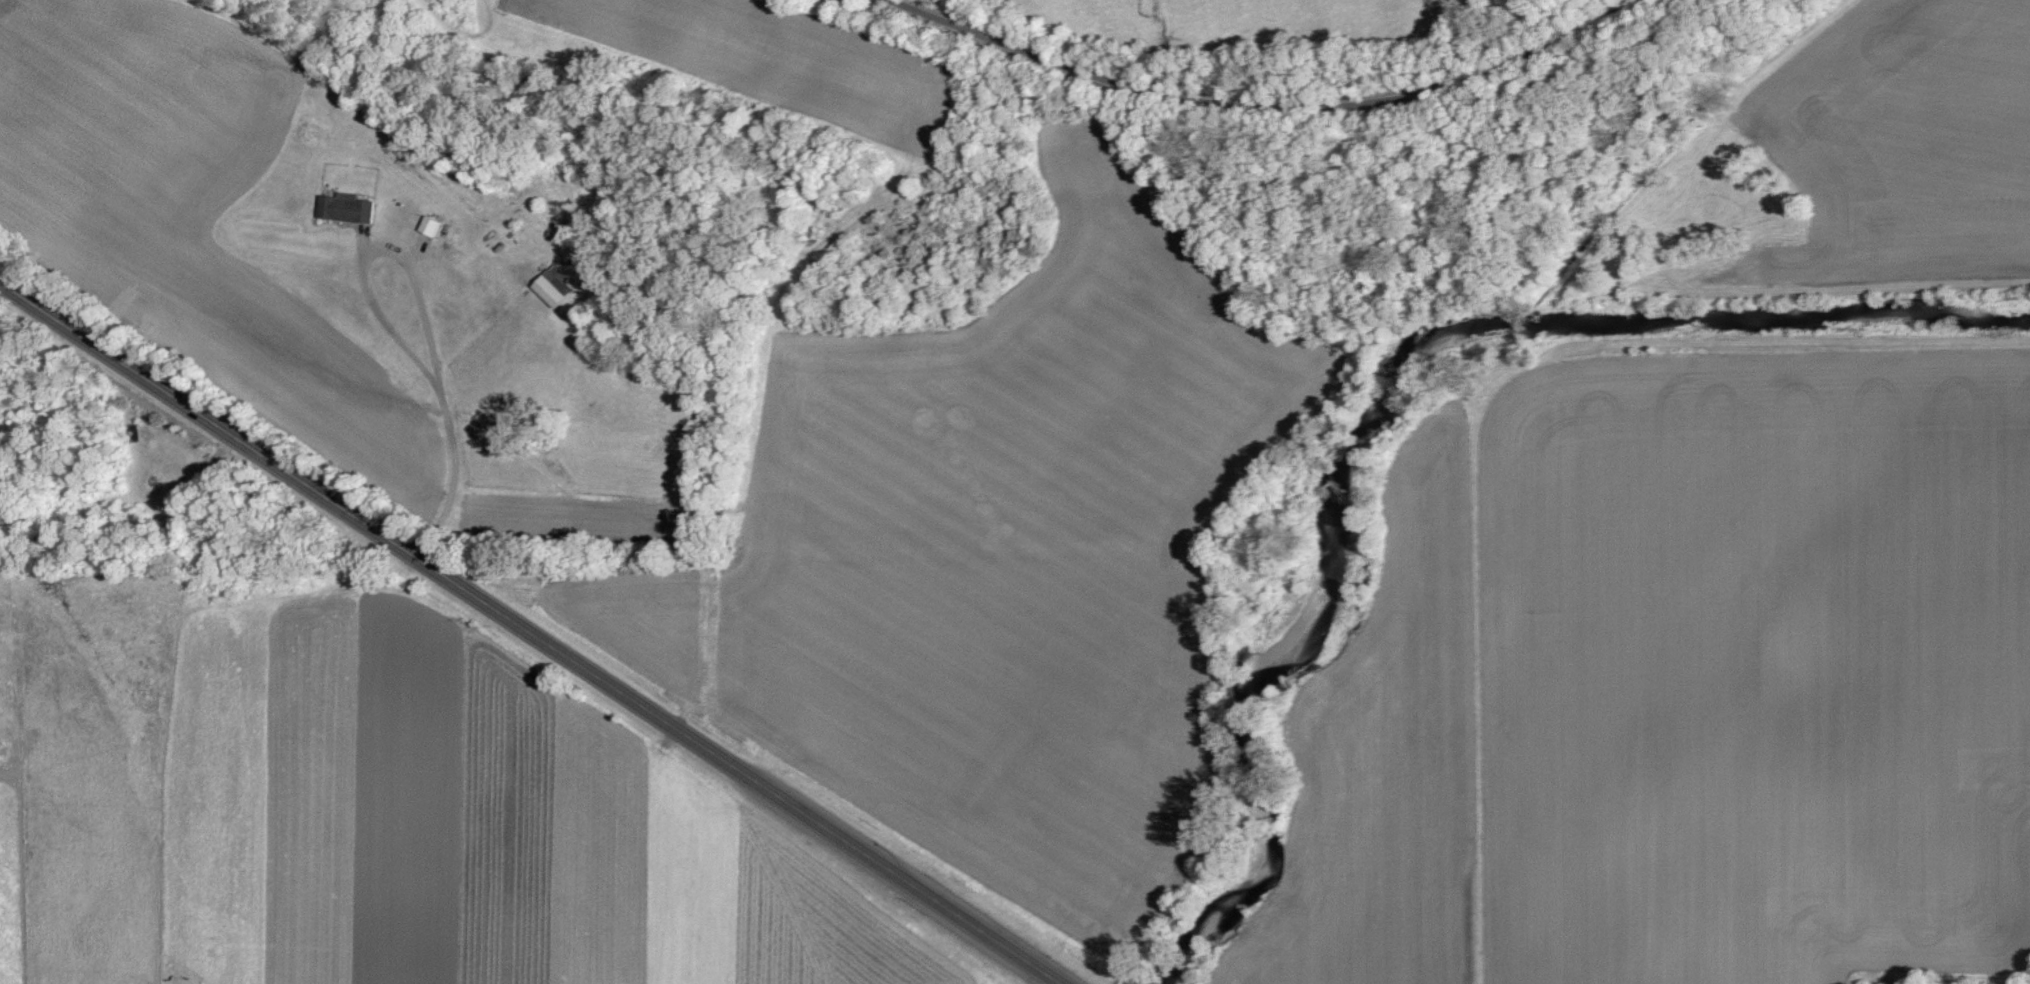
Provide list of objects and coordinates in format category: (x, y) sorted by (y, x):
road: (1260, 106)
building: (351, 208)
building: (435, 226)
building: (558, 286)
road: (422, 312)
road: (530, 633)

